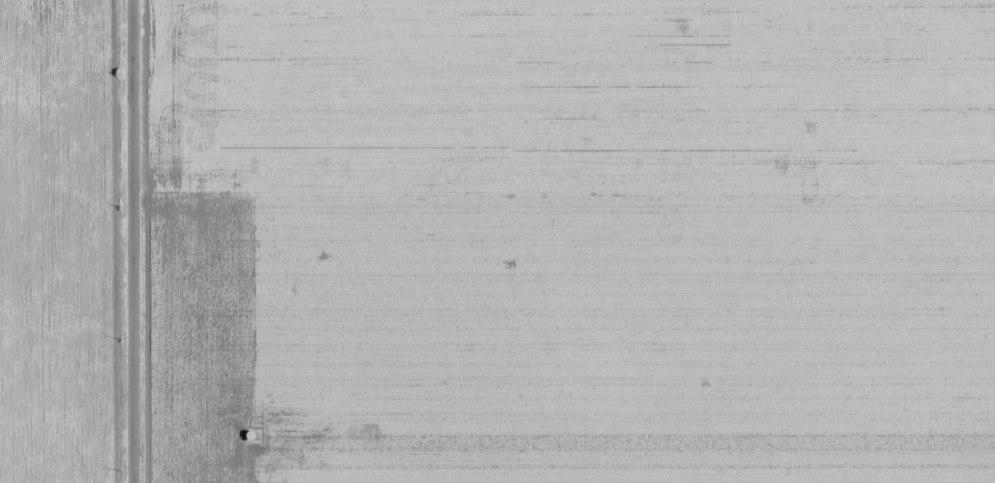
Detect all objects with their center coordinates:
road: (132, 128)
road: (132, 370)

